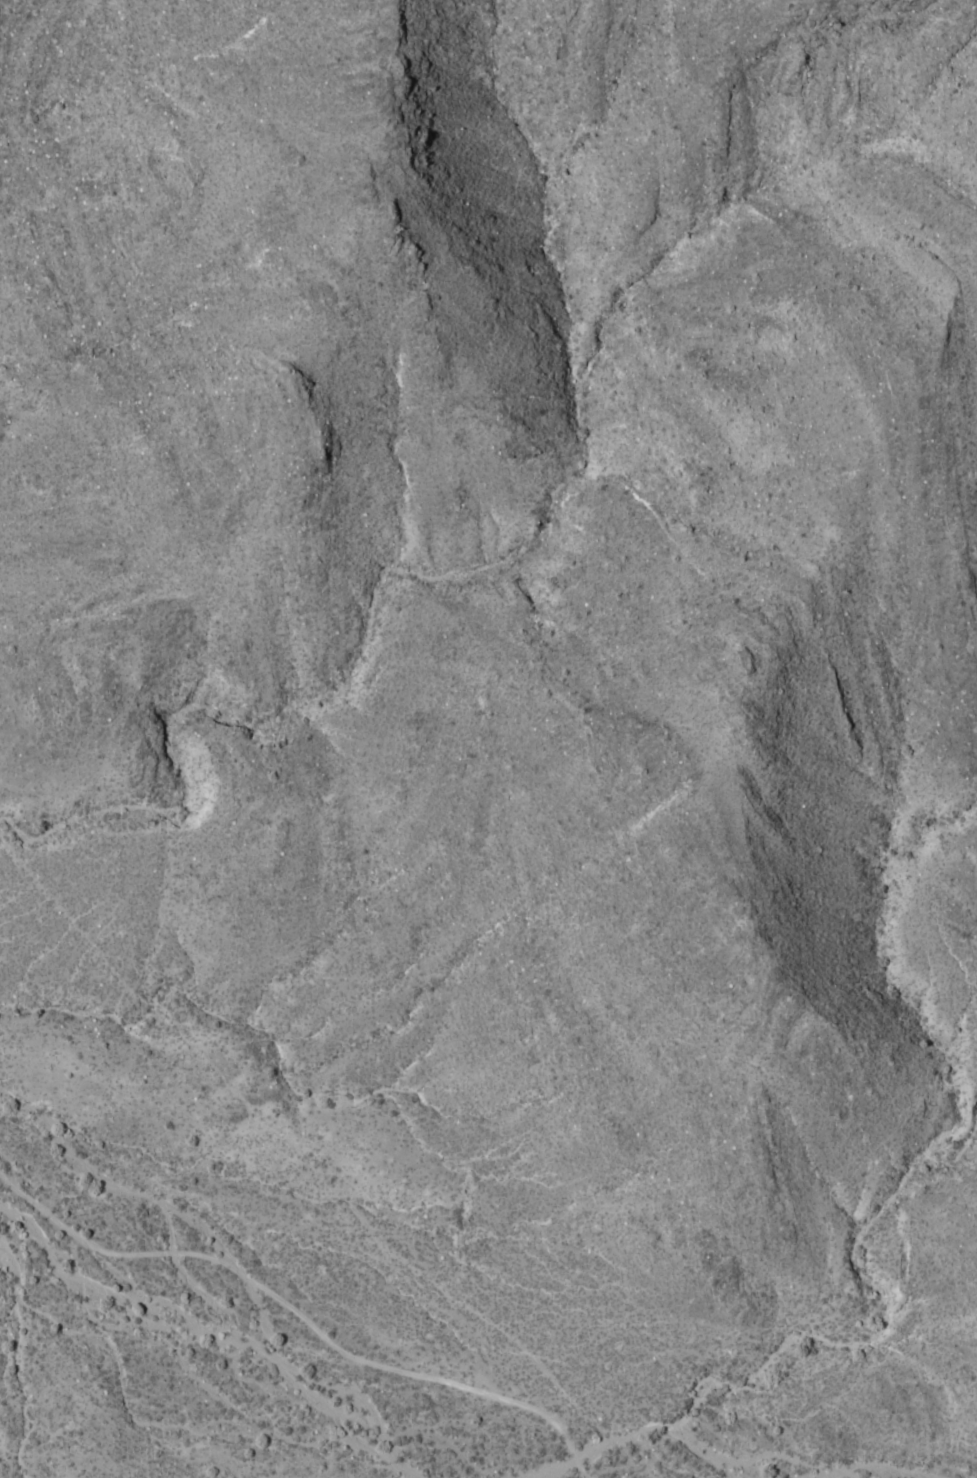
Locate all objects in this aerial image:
road: (299, 1316)

